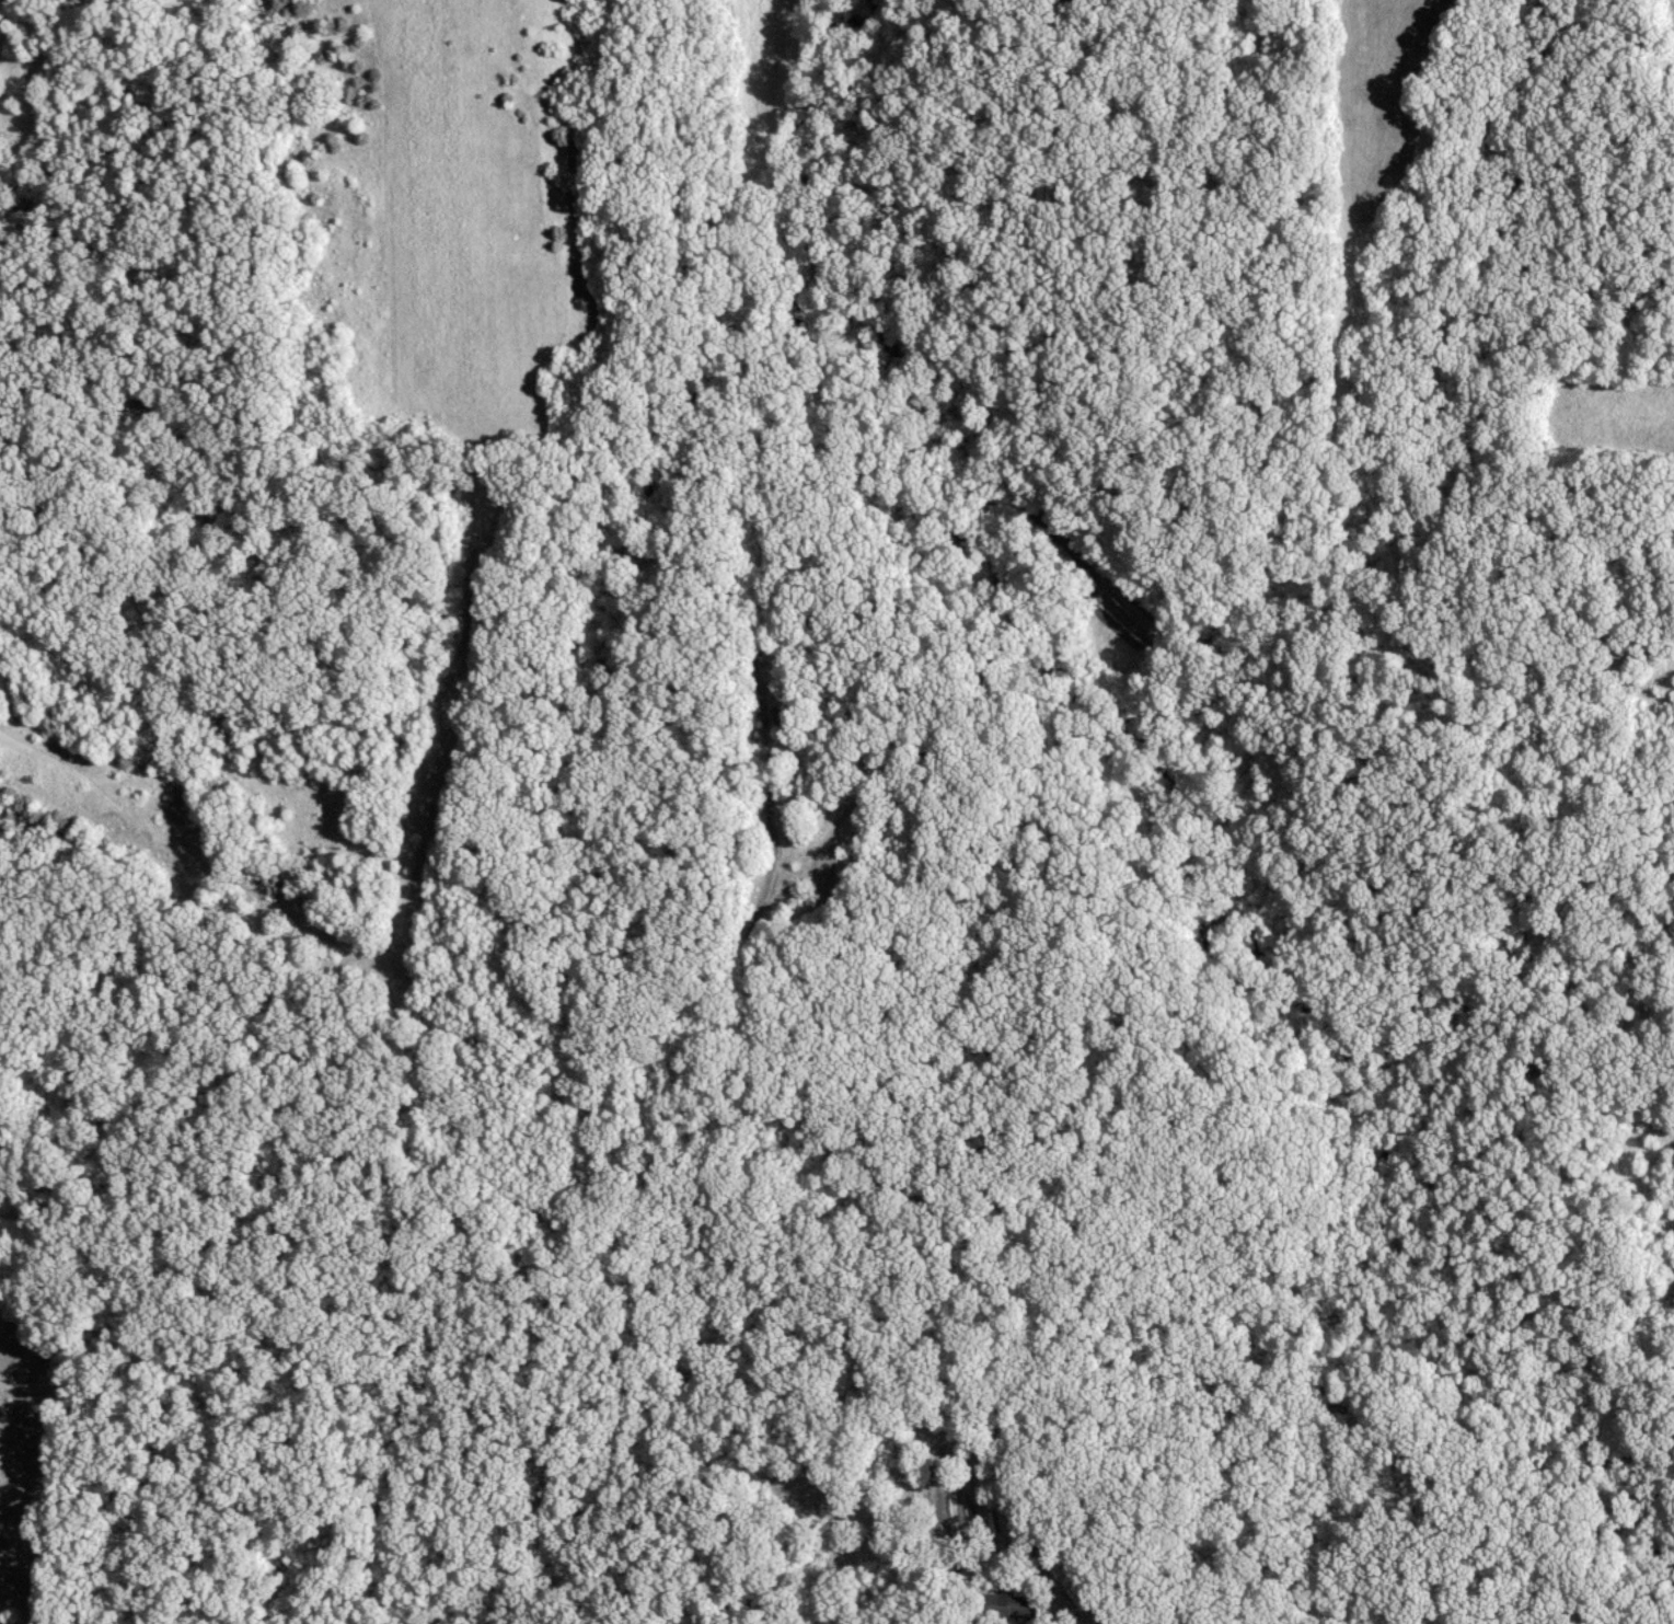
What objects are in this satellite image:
road: (1090, 1590)
building: (1011, 1608)

